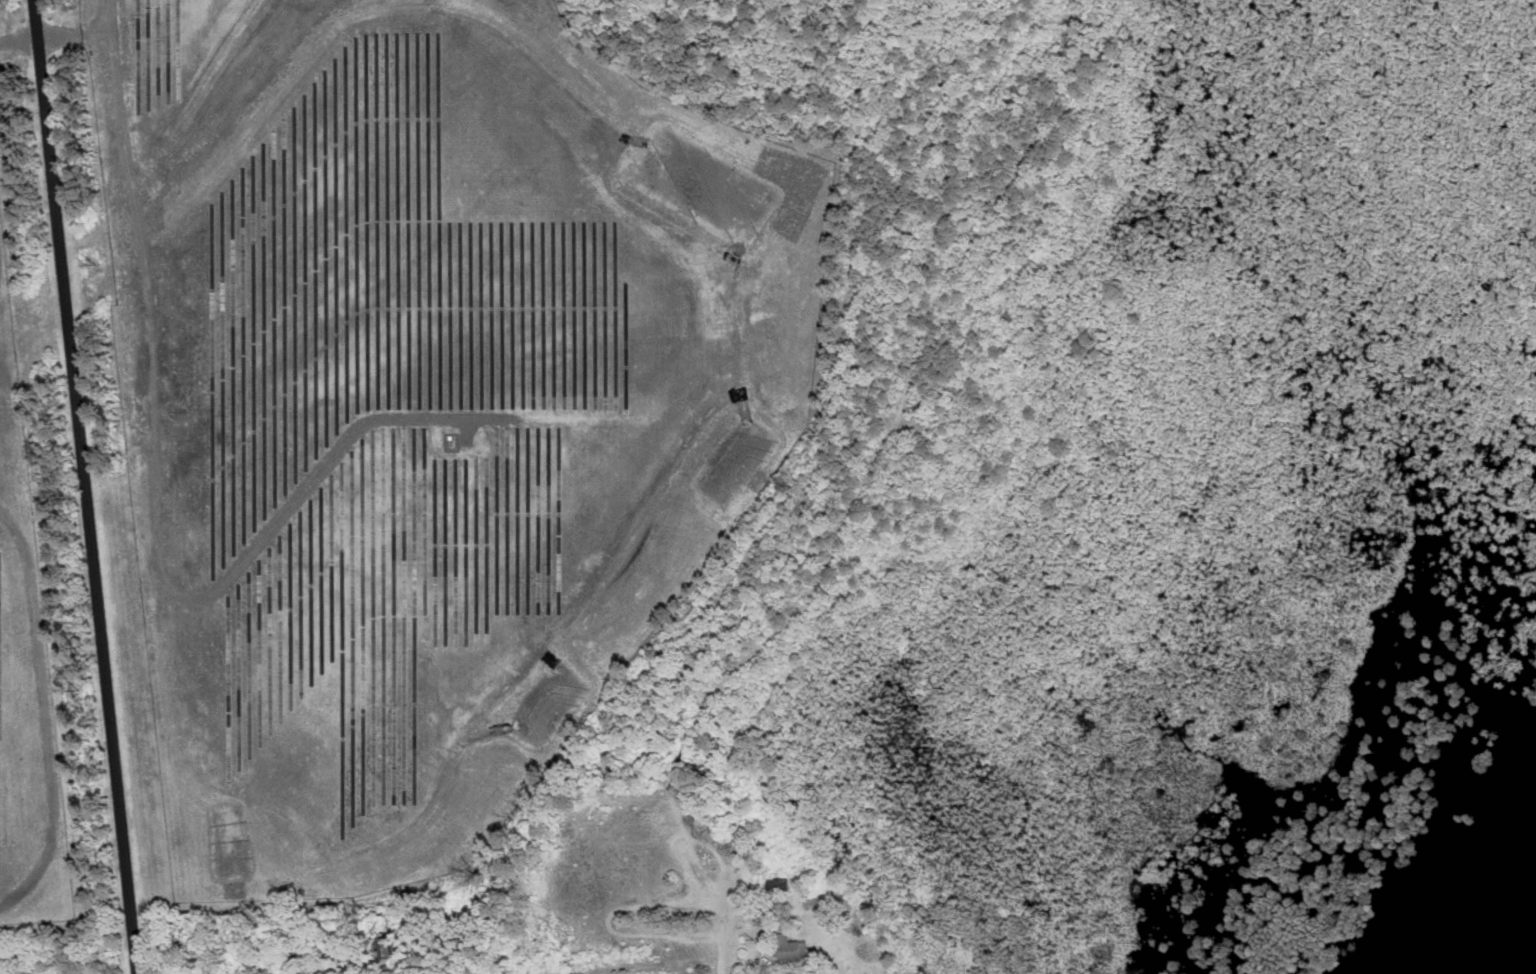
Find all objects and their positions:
power tower: (93, 257)
road: (85, 486)
building: (389, 946)
building: (787, 949)
building: (191, 964)

